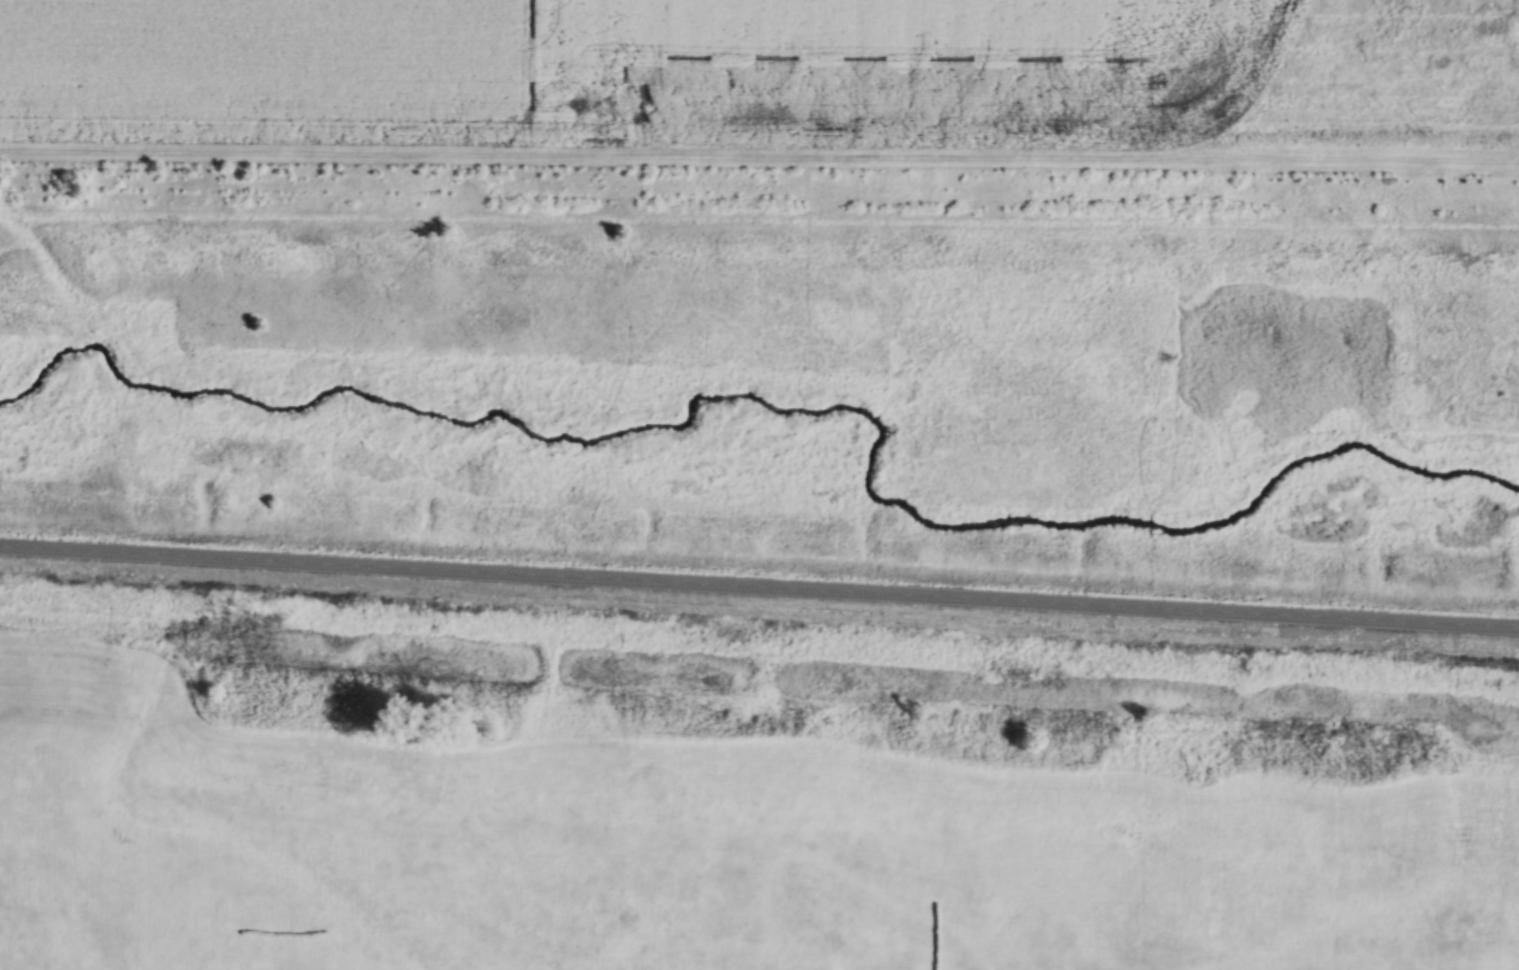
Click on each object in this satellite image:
road: (759, 587)

